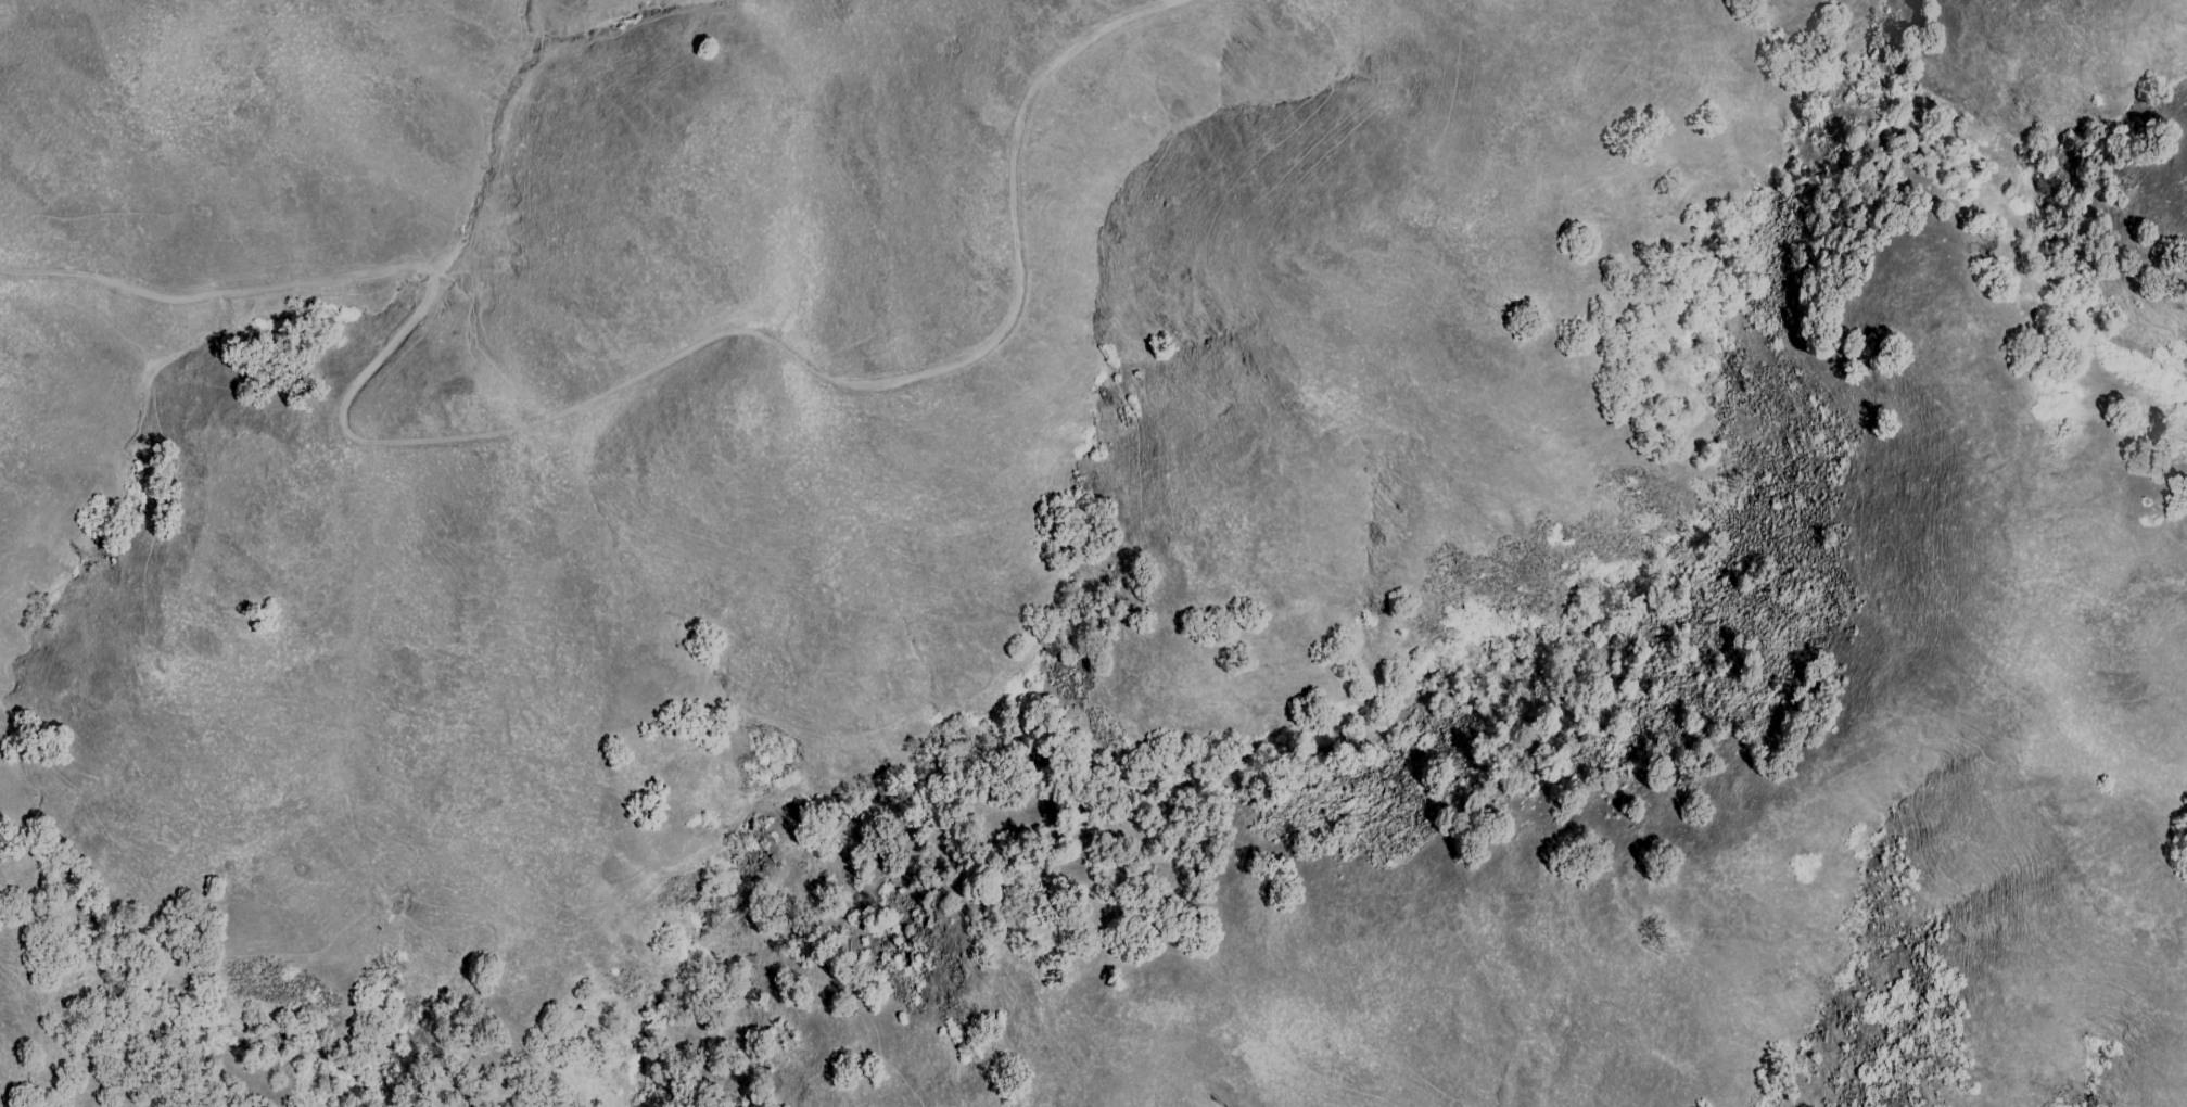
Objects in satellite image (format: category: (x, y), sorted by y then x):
road: (217, 294)
road: (785, 351)

